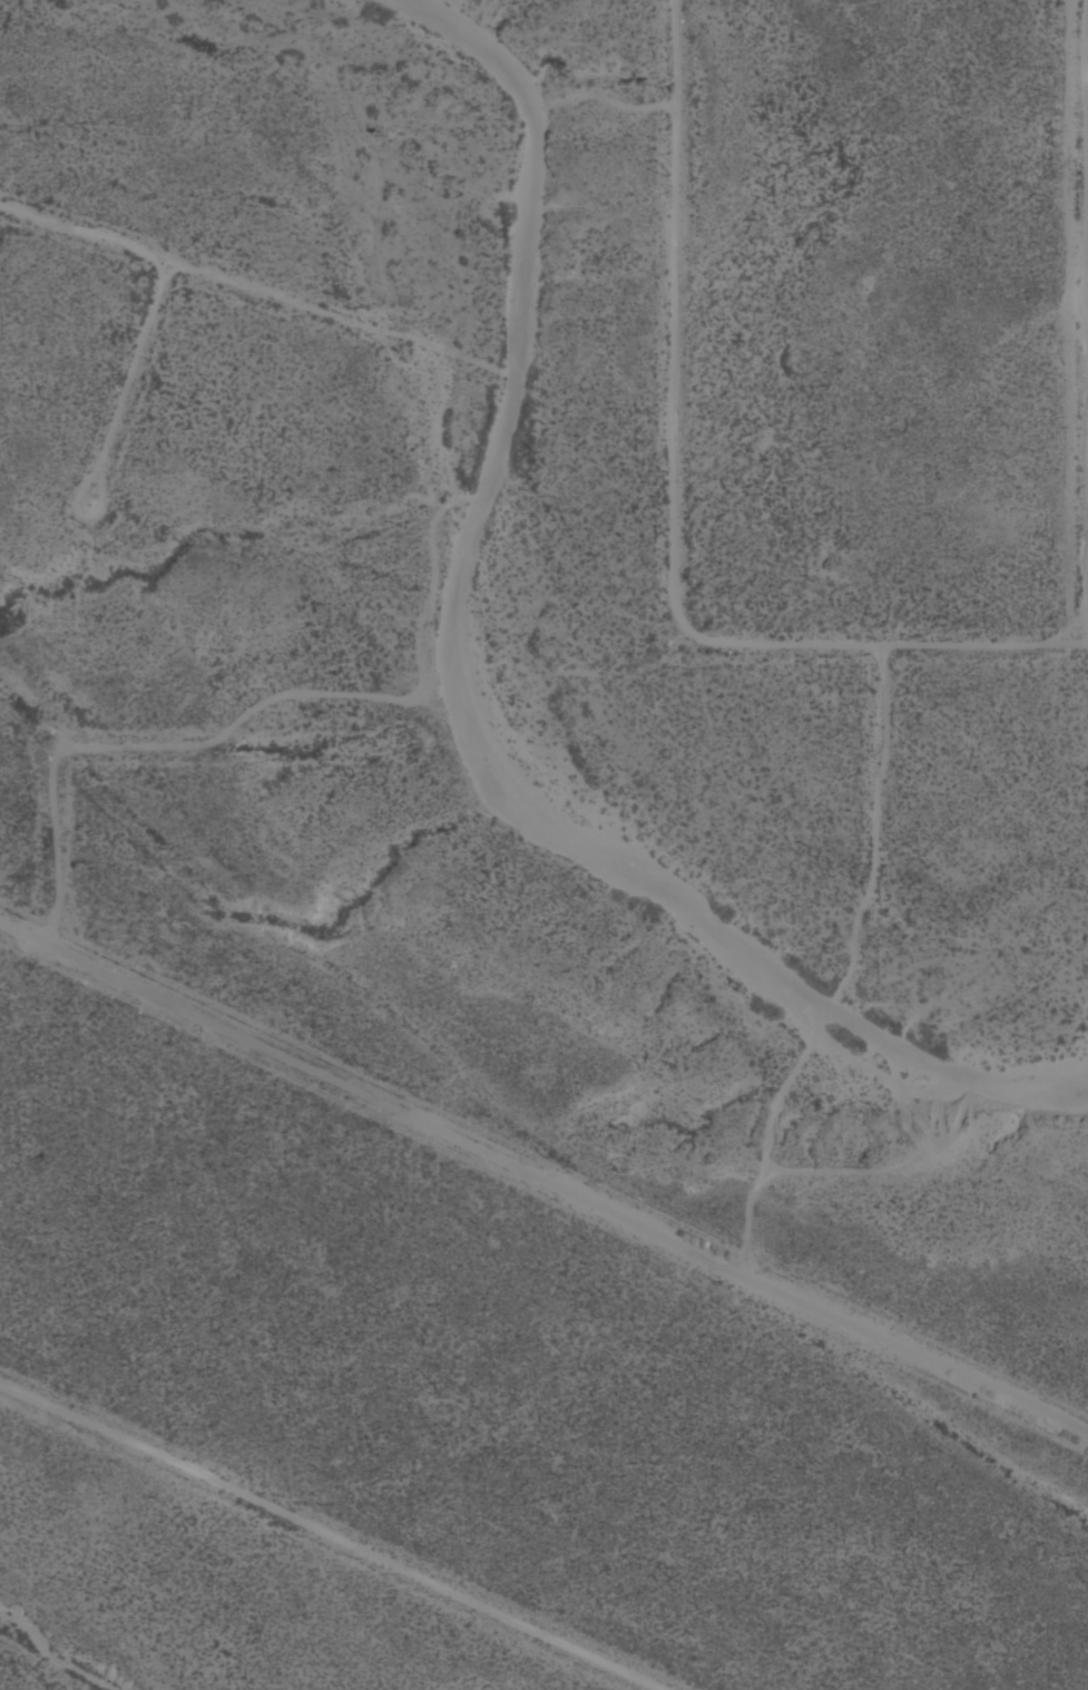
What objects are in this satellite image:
road: (53, 839)
road: (543, 1175)
road: (336, 1534)

